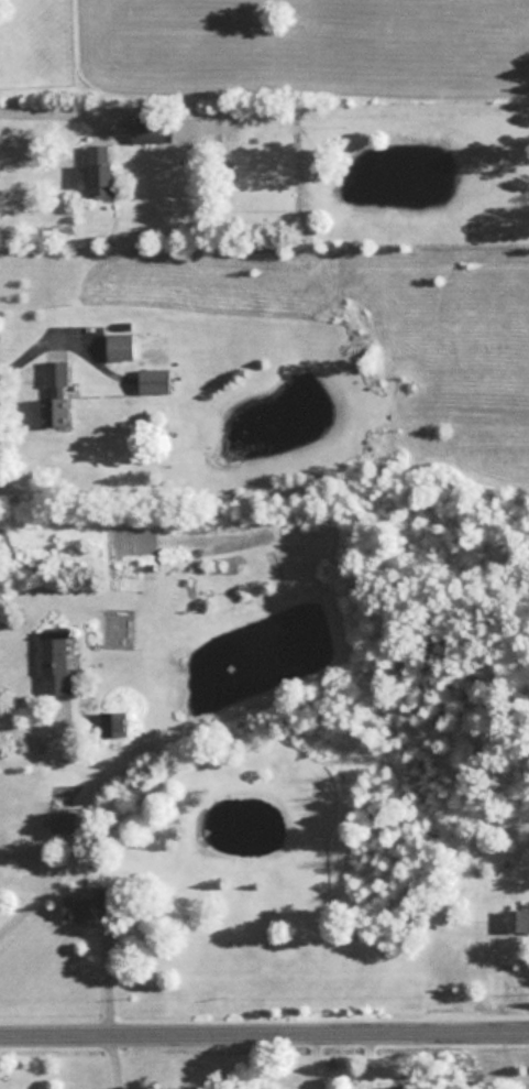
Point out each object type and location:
road: (51, 110)
building: (147, 129)
building: (99, 170)
building: (119, 345)
building: (153, 380)
building: (54, 392)
building: (54, 661)
building: (110, 722)
road: (31, 728)
building: (62, 821)
building: (84, 906)
road: (264, 1030)
road: (109, 1059)

